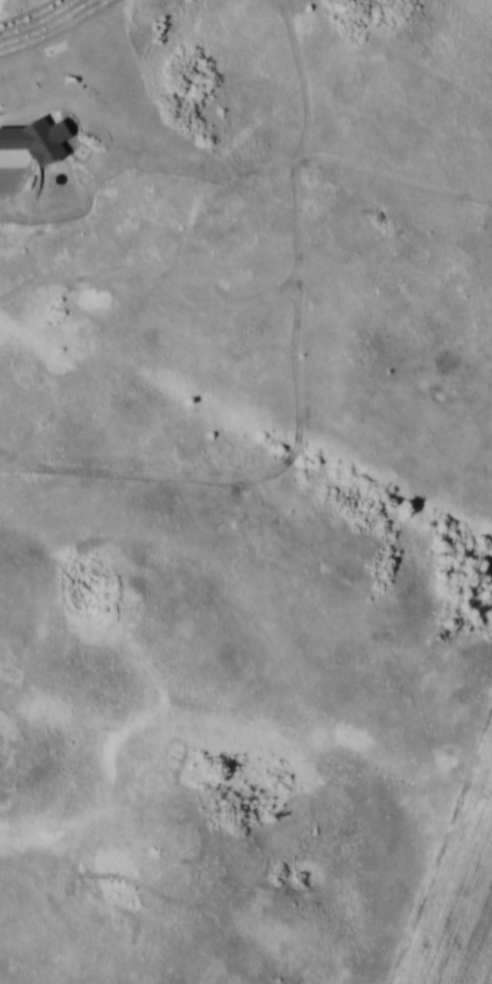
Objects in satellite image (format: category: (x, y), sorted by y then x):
building: (35, 140)

